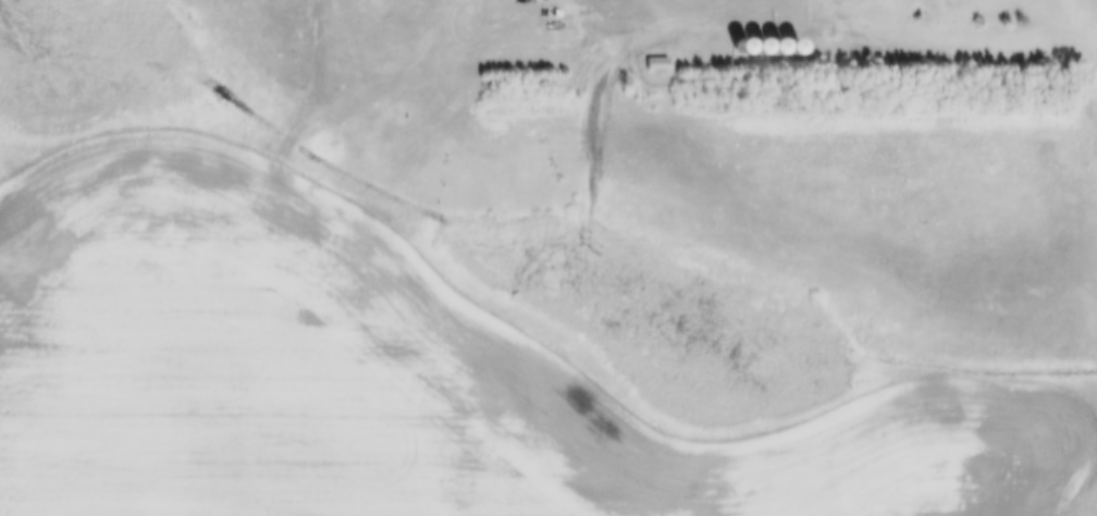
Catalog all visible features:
building: (658, 70)

